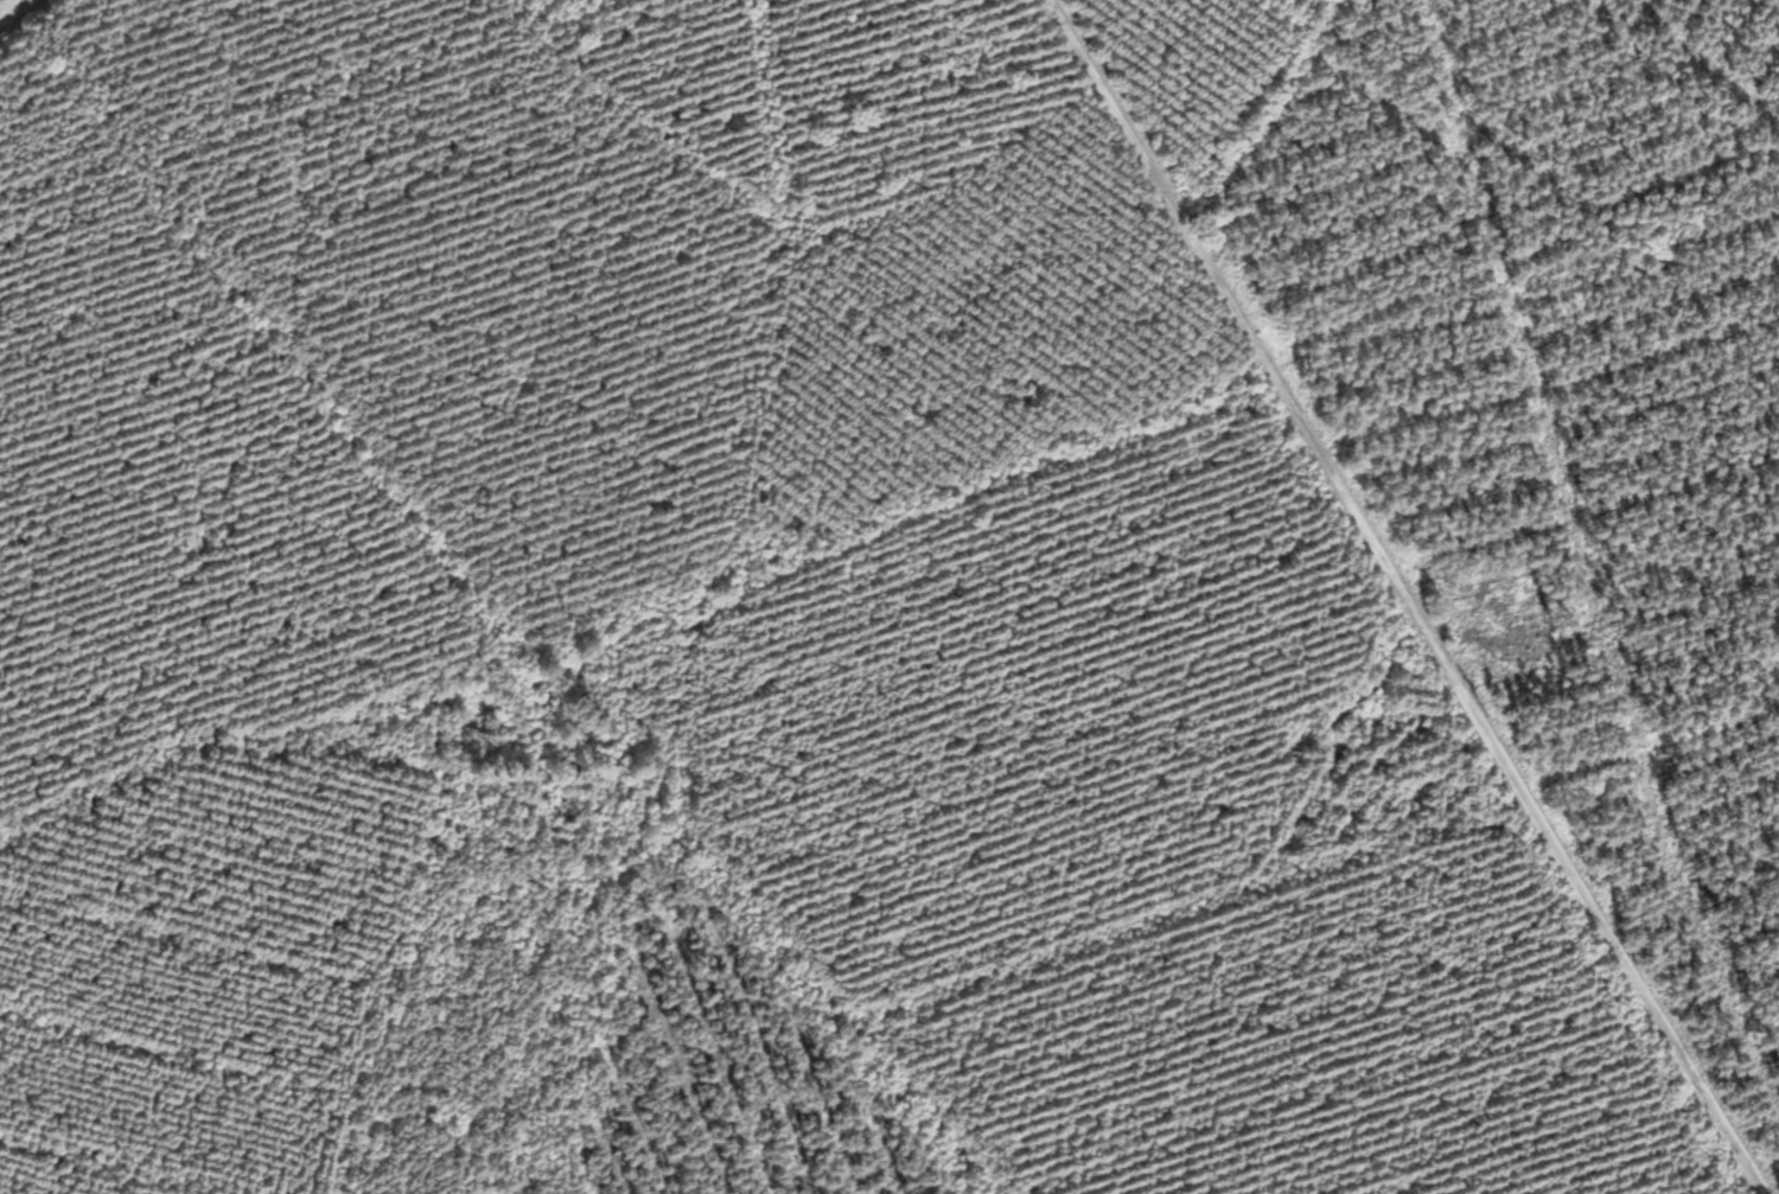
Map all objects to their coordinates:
road: (19, 13)
road: (1404, 596)

